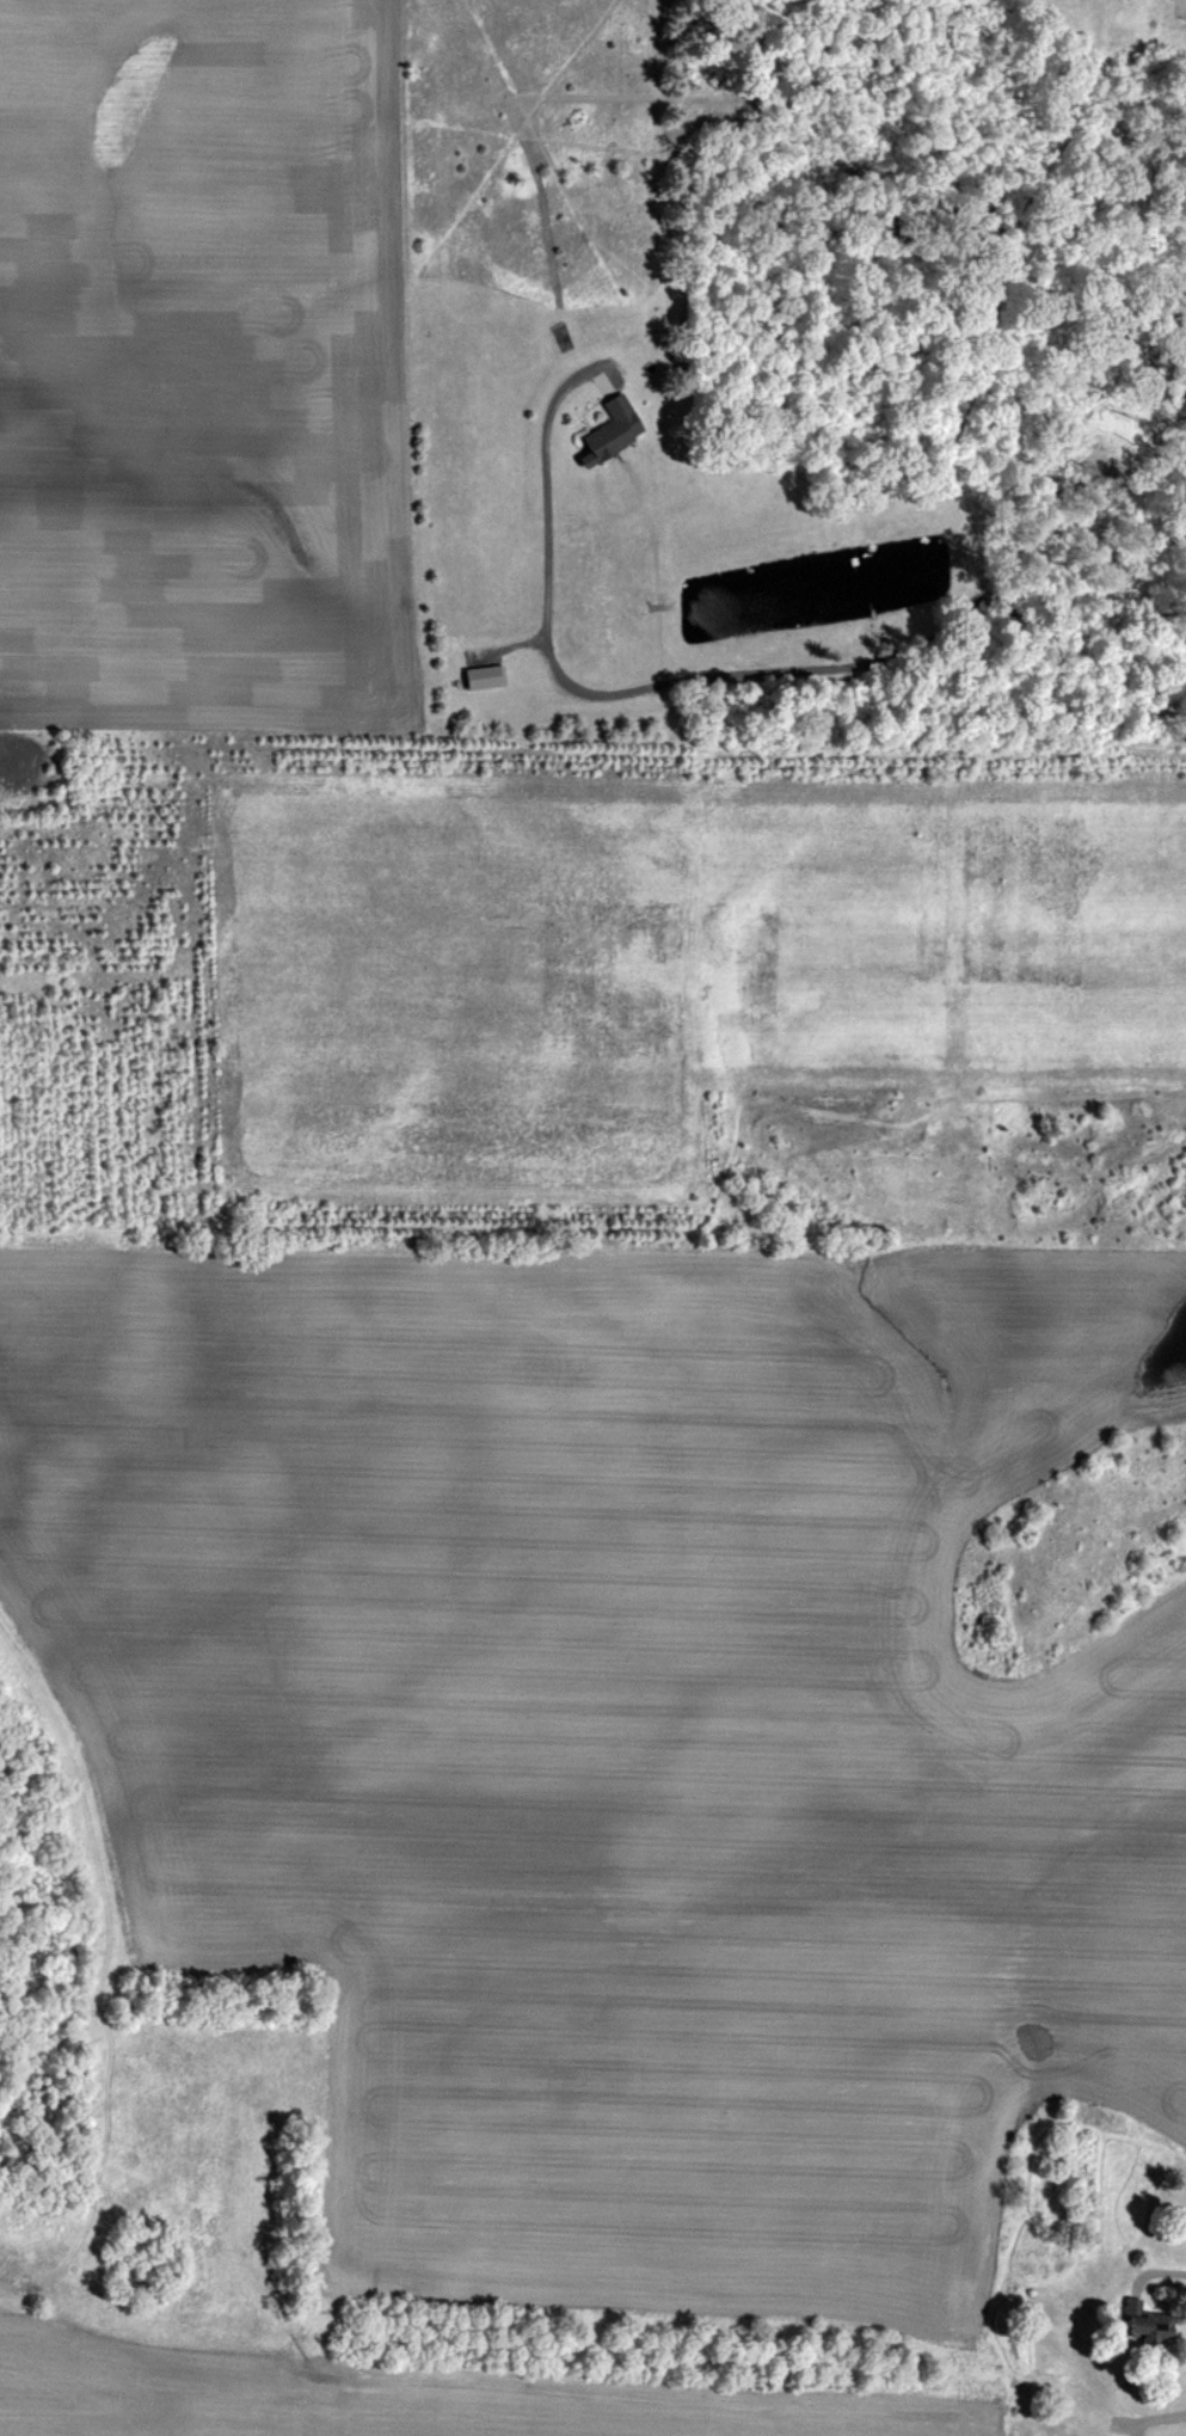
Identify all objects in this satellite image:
road: (1008, 271)
building: (602, 429)
building: (480, 676)
road: (751, 685)
crop: (592, 1217)
road: (1176, 2272)
building: (1135, 2325)

